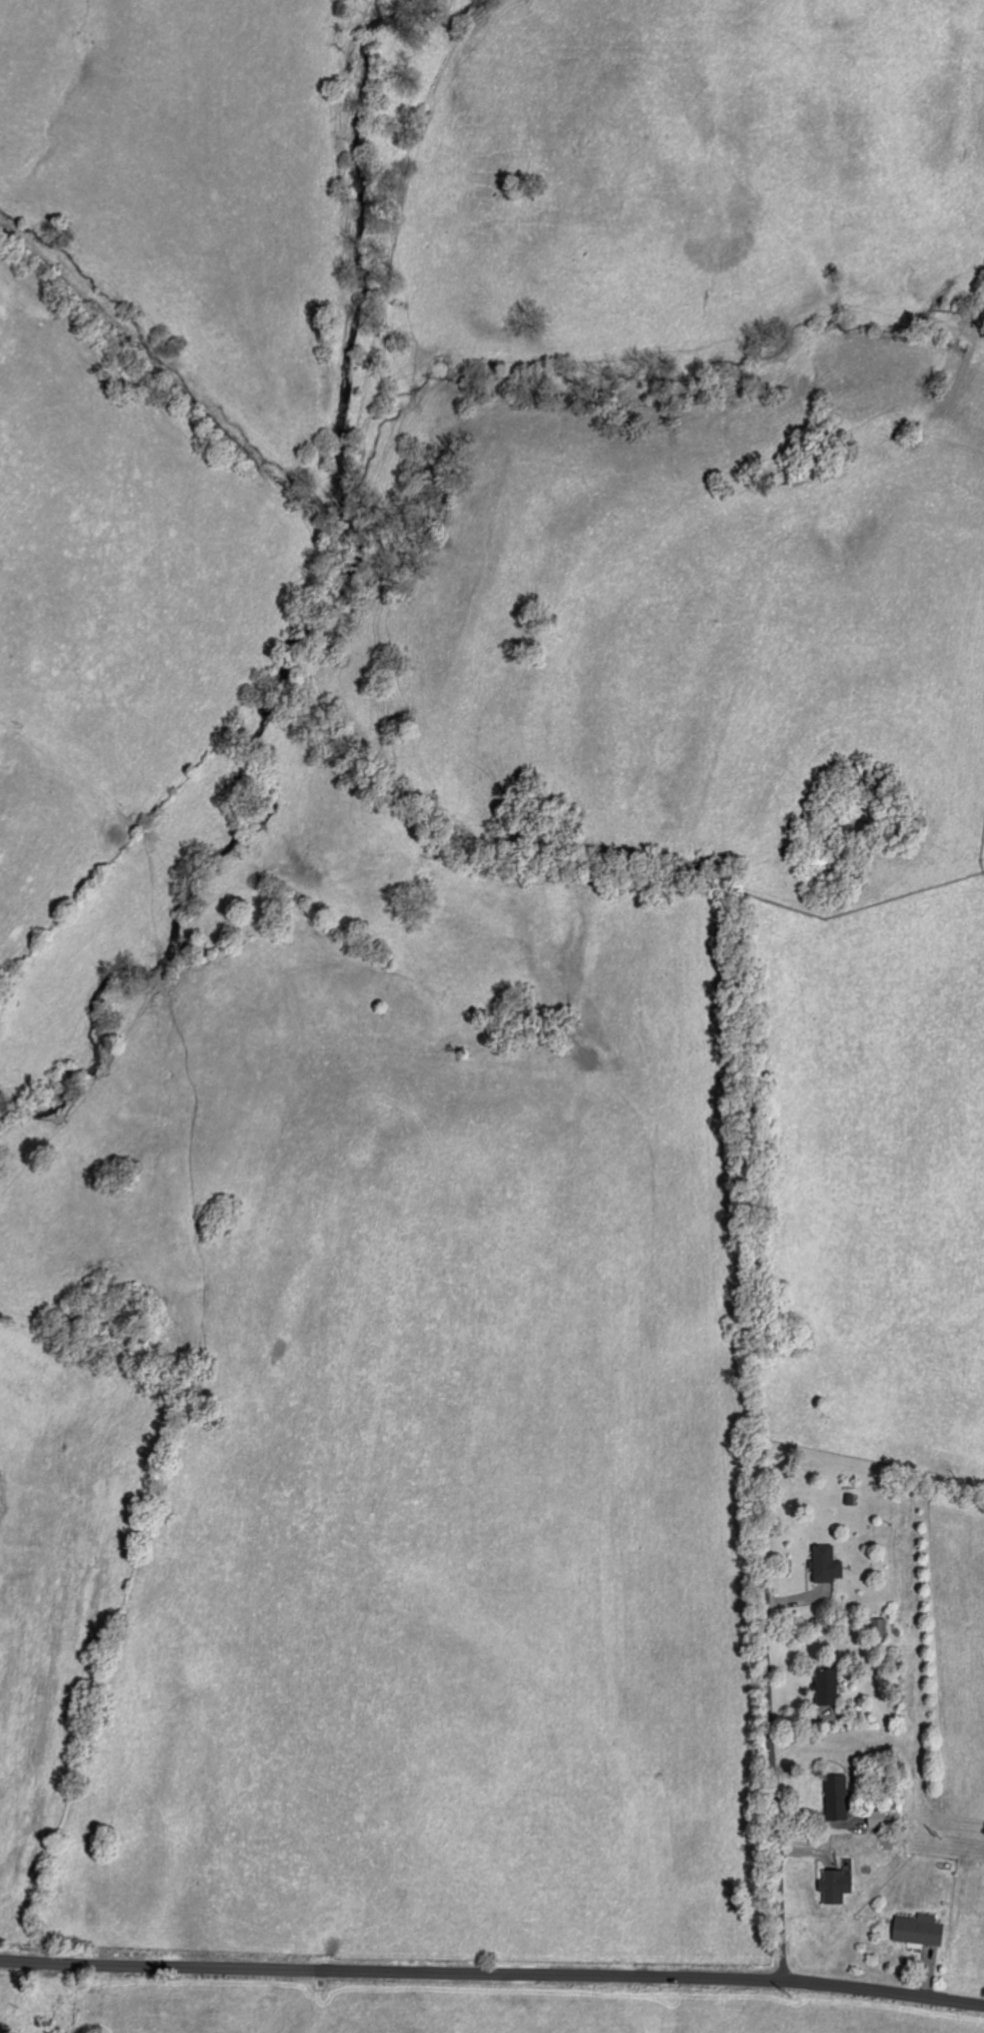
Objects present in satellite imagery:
building: (827, 1564)
building: (880, 1629)
building: (828, 1687)
road: (773, 1781)
building: (838, 1797)
building: (878, 1818)
building: (836, 1886)
building: (919, 1930)
road: (492, 1977)

